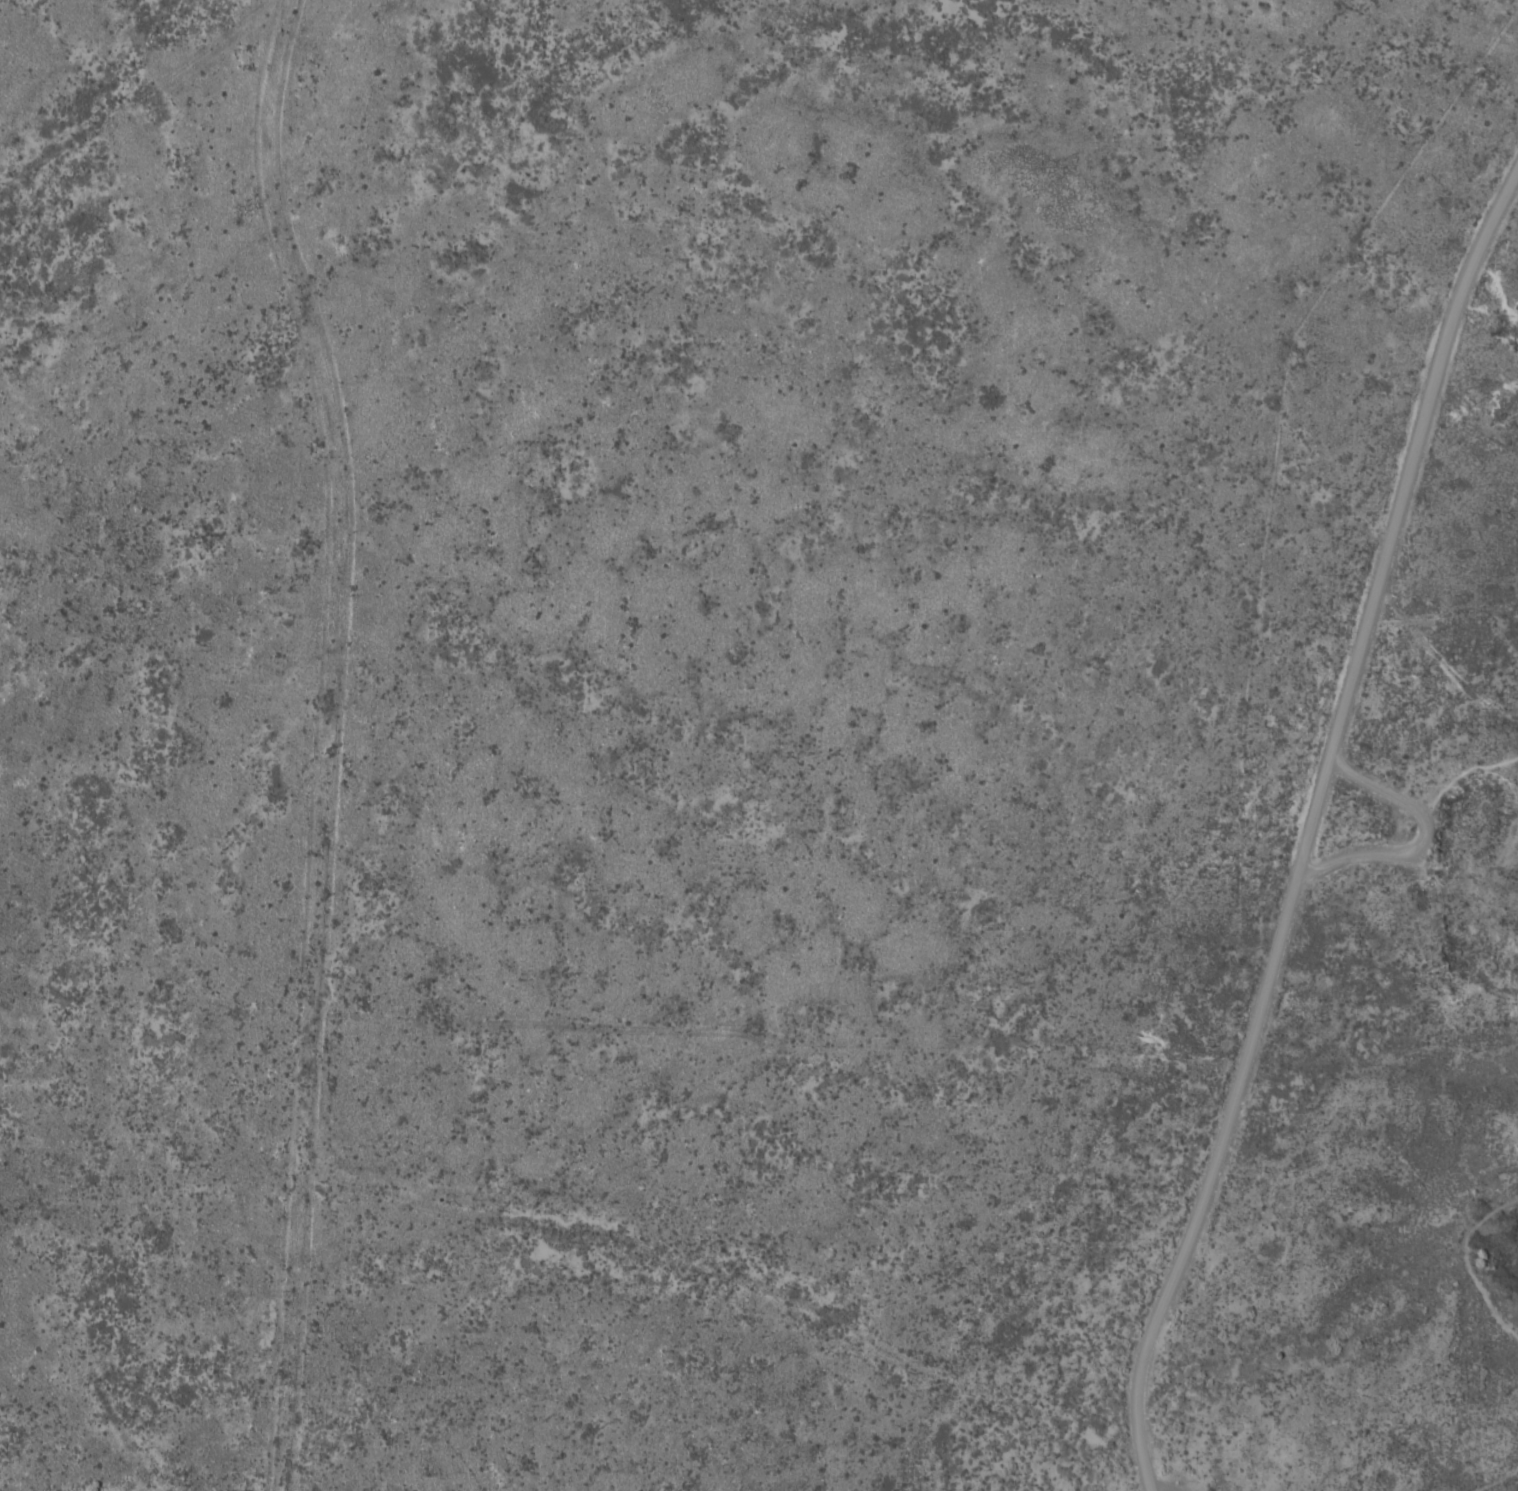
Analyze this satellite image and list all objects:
road: (1312, 832)

